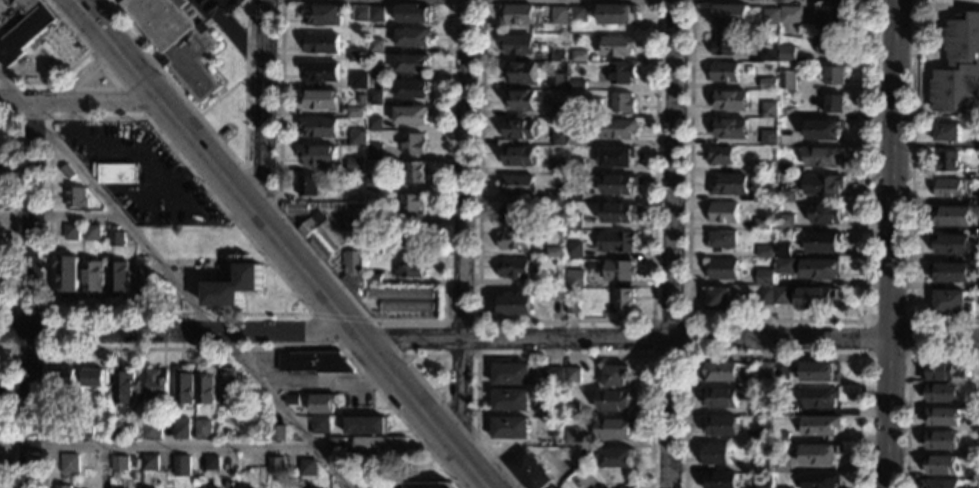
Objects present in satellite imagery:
road: (946, 3)
parking lot: (211, 7)
building: (360, 14)
building: (376, 14)
building: (616, 14)
building: (729, 14)
building: (412, 15)
building: (516, 15)
building: (559, 15)
building: (579, 15)
building: (791, 15)
building: (321, 16)
building: (770, 17)
building: (830, 18)
road: (95, 23)
building: (25, 30)
road: (234, 35)
building: (412, 38)
building: (178, 42)
building: (321, 43)
building: (517, 45)
building: (375, 46)
building: (618, 46)
building: (723, 46)
building: (830, 46)
building: (543, 47)
building: (769, 52)
building: (787, 54)
building: (356, 56)
building: (558, 56)
building: (579, 56)
road: (75, 62)
building: (412, 64)
building: (959, 67)
building: (320, 71)
building: (375, 72)
building: (724, 72)
building: (520, 73)
building: (622, 73)
road: (81, 75)
building: (835, 76)
road: (242, 78)
road: (117, 80)
building: (359, 81)
building: (557, 81)
building: (787, 81)
building: (371, 82)
road: (116, 84)
building: (768, 84)
building: (577, 85)
building: (411, 90)
building: (374, 98)
road: (217, 99)
building: (320, 99)
building: (362, 99)
building: (521, 100)
building: (730, 100)
road: (82, 103)
building: (622, 103)
building: (834, 104)
road: (265, 105)
building: (560, 110)
building: (769, 110)
building: (786, 112)
building: (355, 113)
building: (576, 113)
building: (411, 116)
road: (49, 117)
building: (374, 124)
building: (319, 127)
building: (729, 128)
building: (519, 129)
building: (617, 129)
building: (825, 129)
building: (947, 132)
building: (358, 138)
building: (559, 138)
building: (768, 138)
building: (576, 139)
building: (413, 144)
road: (227, 150)
building: (374, 152)
building: (358, 154)
building: (319, 155)
building: (2, 156)
building: (720, 156)
building: (519, 157)
building: (616, 157)
building: (823, 157)
building: (947, 162)
building: (356, 165)
building: (558, 166)
building: (575, 166)
building: (763, 168)
building: (784, 169)
road: (48, 171)
building: (67, 172)
building: (416, 173)
building: (117, 174)
building: (350, 182)
building: (375, 183)
building: (619, 184)
building: (308, 185)
building: (729, 185)
building: (823, 185)
building: (517, 186)
building: (948, 189)
road: (261, 190)
building: (574, 194)
road: (911, 194)
building: (785, 196)
building: (76, 197)
building: (557, 197)
building: (761, 198)
building: (412, 205)
building: (297, 207)
building: (618, 212)
road: (13, 213)
building: (723, 213)
road: (58, 214)
building: (515, 214)
building: (826, 214)
building: (952, 216)
building: (375, 217)
building: (573, 221)
building: (785, 222)
building: (761, 224)
road: (463, 226)
building: (356, 230)
building: (70, 232)
building: (92, 233)
building: (321, 235)
building: (413, 236)
building: (115, 237)
building: (514, 240)
building: (721, 240)
building: (618, 242)
building: (822, 242)
road: (891, 243)
road: (672, 244)
building: (951, 244)
building: (375, 246)
building: (574, 250)
building: (783, 250)
building: (765, 252)
building: (554, 253)
building: (354, 262)
building: (0, 263)
building: (785, 266)
road: (300, 267)
building: (409, 268)
building: (514, 268)
building: (723, 269)
building: (819, 269)
building: (616, 270)
building: (951, 272)
building: (67, 275)
building: (765, 277)
building: (92, 278)
building: (118, 279)
building: (374, 280)
road: (176, 281)
building: (144, 282)
building: (575, 282)
building: (355, 284)
building: (234, 287)
road: (30, 295)
building: (766, 296)
building: (782, 296)
building: (816, 298)
building: (404, 299)
building: (719, 299)
building: (624, 300)
building: (953, 302)
building: (514, 304)
building: (557, 307)
building: (572, 307)
road: (341, 316)
road: (564, 320)
road: (391, 321)
road: (774, 321)
road: (325, 330)
road: (387, 338)
road: (489, 340)
road: (11, 347)
road: (215, 348)
road: (909, 354)
road: (476, 355)
road: (556, 355)
road: (685, 355)
road: (774, 355)
building: (314, 362)
building: (765, 369)
building: (721, 371)
building: (782, 371)
building: (818, 372)
building: (939, 372)
building: (511, 374)
building: (552, 375)
building: (572, 375)
building: (617, 376)
building: (65, 377)
building: (94, 378)
building: (156, 385)
building: (226, 385)
road: (331, 385)
road: (908, 386)
building: (183, 387)
building: (123, 388)
building: (204, 388)
road: (441, 388)
building: (941, 392)
building: (721, 398)
building: (821, 398)
building: (291, 400)
building: (511, 400)
building: (615, 400)
building: (976, 400)
building: (322, 404)
building: (762, 406)
building: (552, 407)
building: (782, 408)
building: (572, 410)
road: (9, 412)
building: (941, 416)
road: (458, 422)
building: (976, 424)
building: (320, 425)
building: (366, 425)
building: (767, 425)
building: (821, 425)
building: (721, 426)
building: (511, 428)
building: (615, 429)
building: (71, 430)
building: (86, 430)
building: (116, 431)
building: (150, 431)
building: (181, 431)
building: (199, 431)
building: (277, 433)
building: (573, 436)
building: (765, 436)
building: (781, 437)
building: (941, 440)
road: (159, 445)
building: (336, 446)
building: (379, 446)
building: (768, 452)
building: (716, 455)
building: (819, 455)
building: (616, 458)
building: (88, 462)
building: (150, 463)
building: (181, 463)
building: (211, 463)
building: (762, 463)
building: (70, 464)
building: (120, 464)
building: (244, 465)
building: (781, 465)
building: (941, 465)
building: (276, 466)
building: (307, 468)
building: (531, 471)
building: (115, 476)
building: (212, 478)
building: (721, 480)
building: (820, 480)
building: (939, 484)
building: (429, 485)
building: (763, 486)
building: (64, 487)
building: (601, 487)
building: (626, 487)
building: (784, 487)
building: (978, 487)

